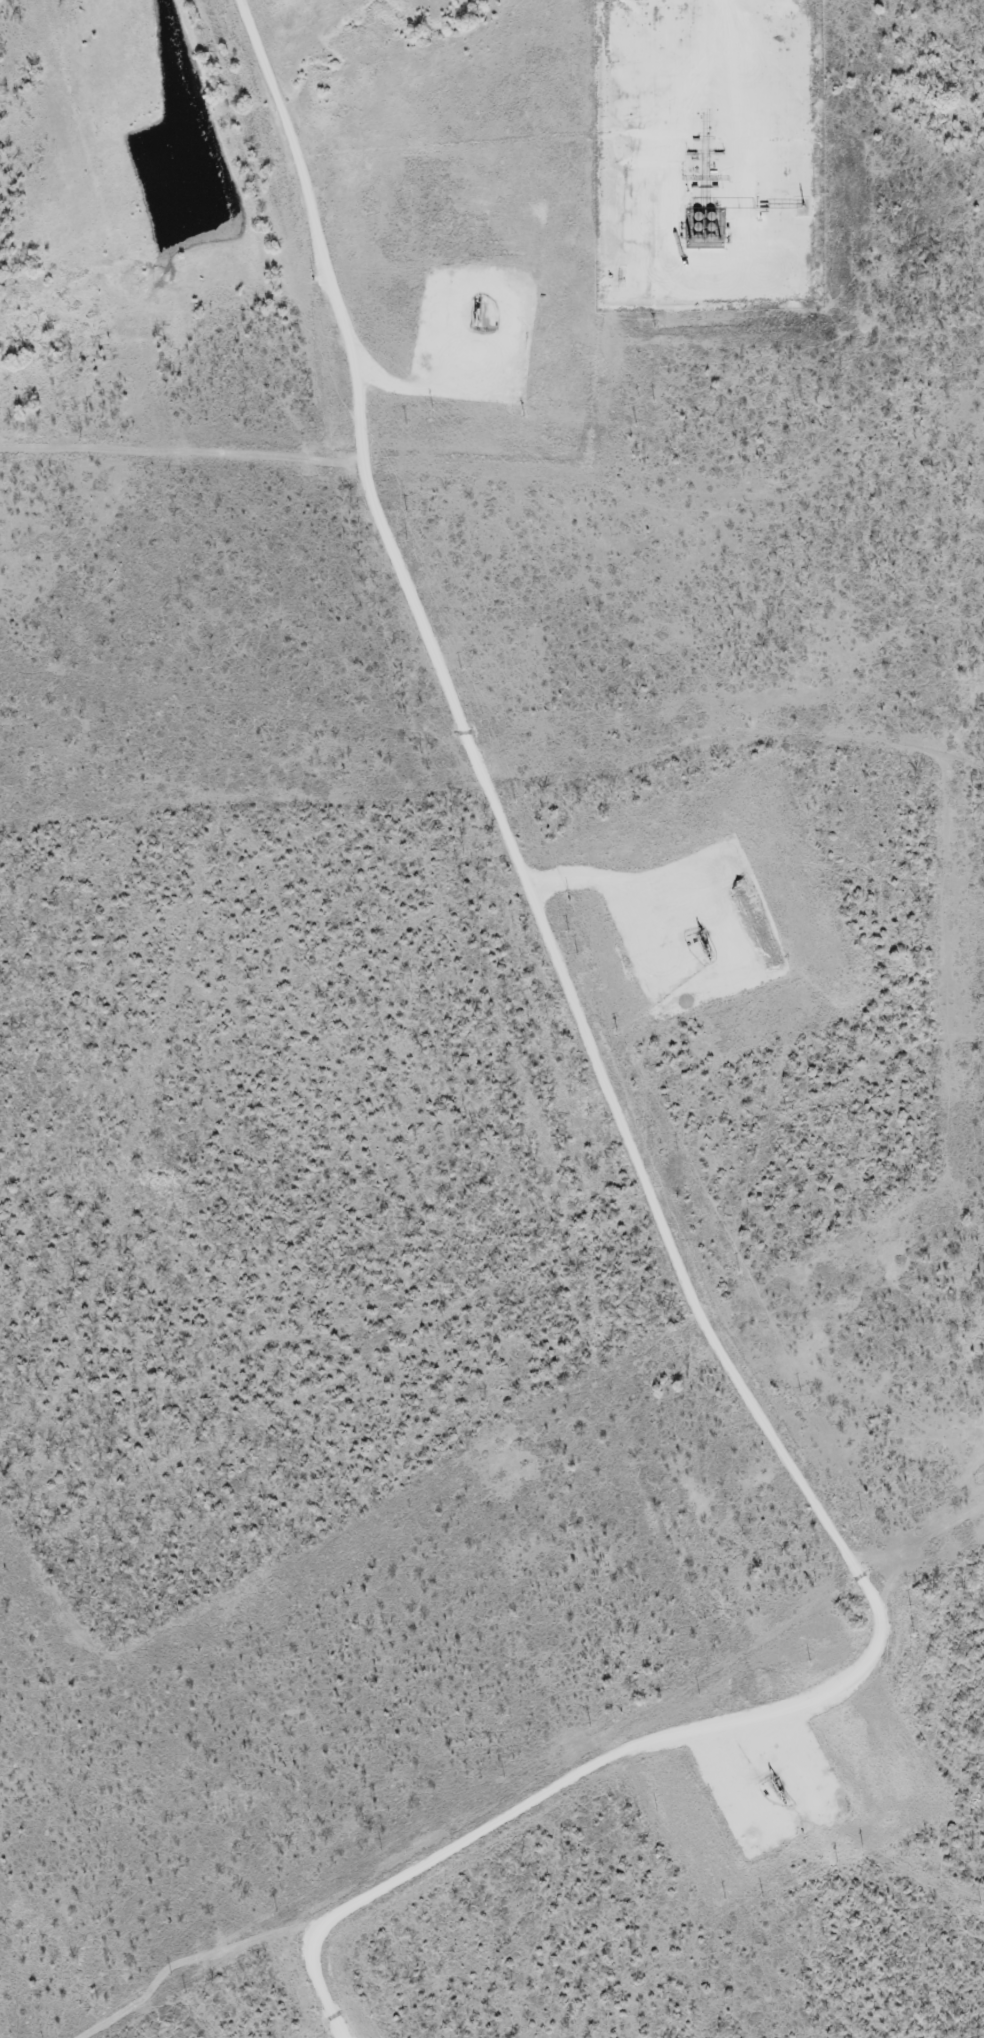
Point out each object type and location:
road: (729, 143)
road: (447, 386)
road: (644, 900)
road: (644, 1191)
road: (739, 1785)

